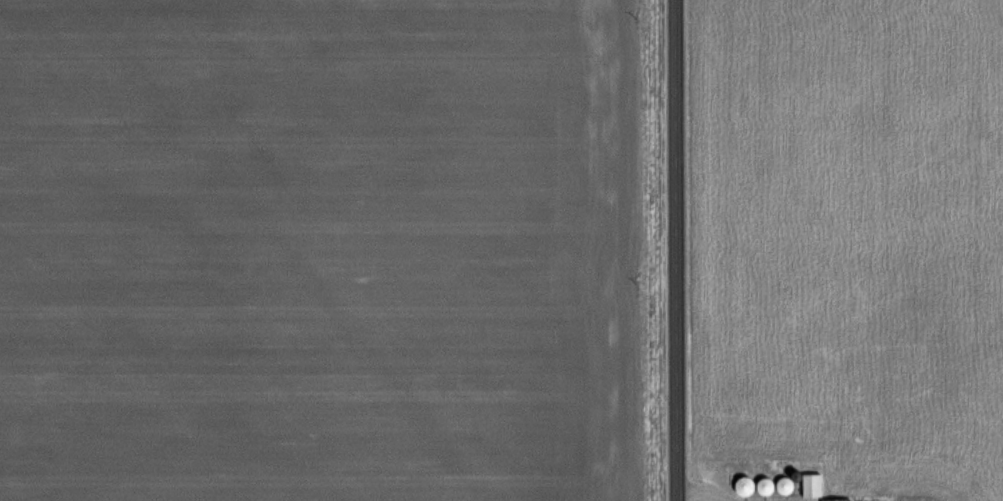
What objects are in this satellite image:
road: (678, 250)
building: (746, 485)
building: (809, 485)
building: (834, 499)

